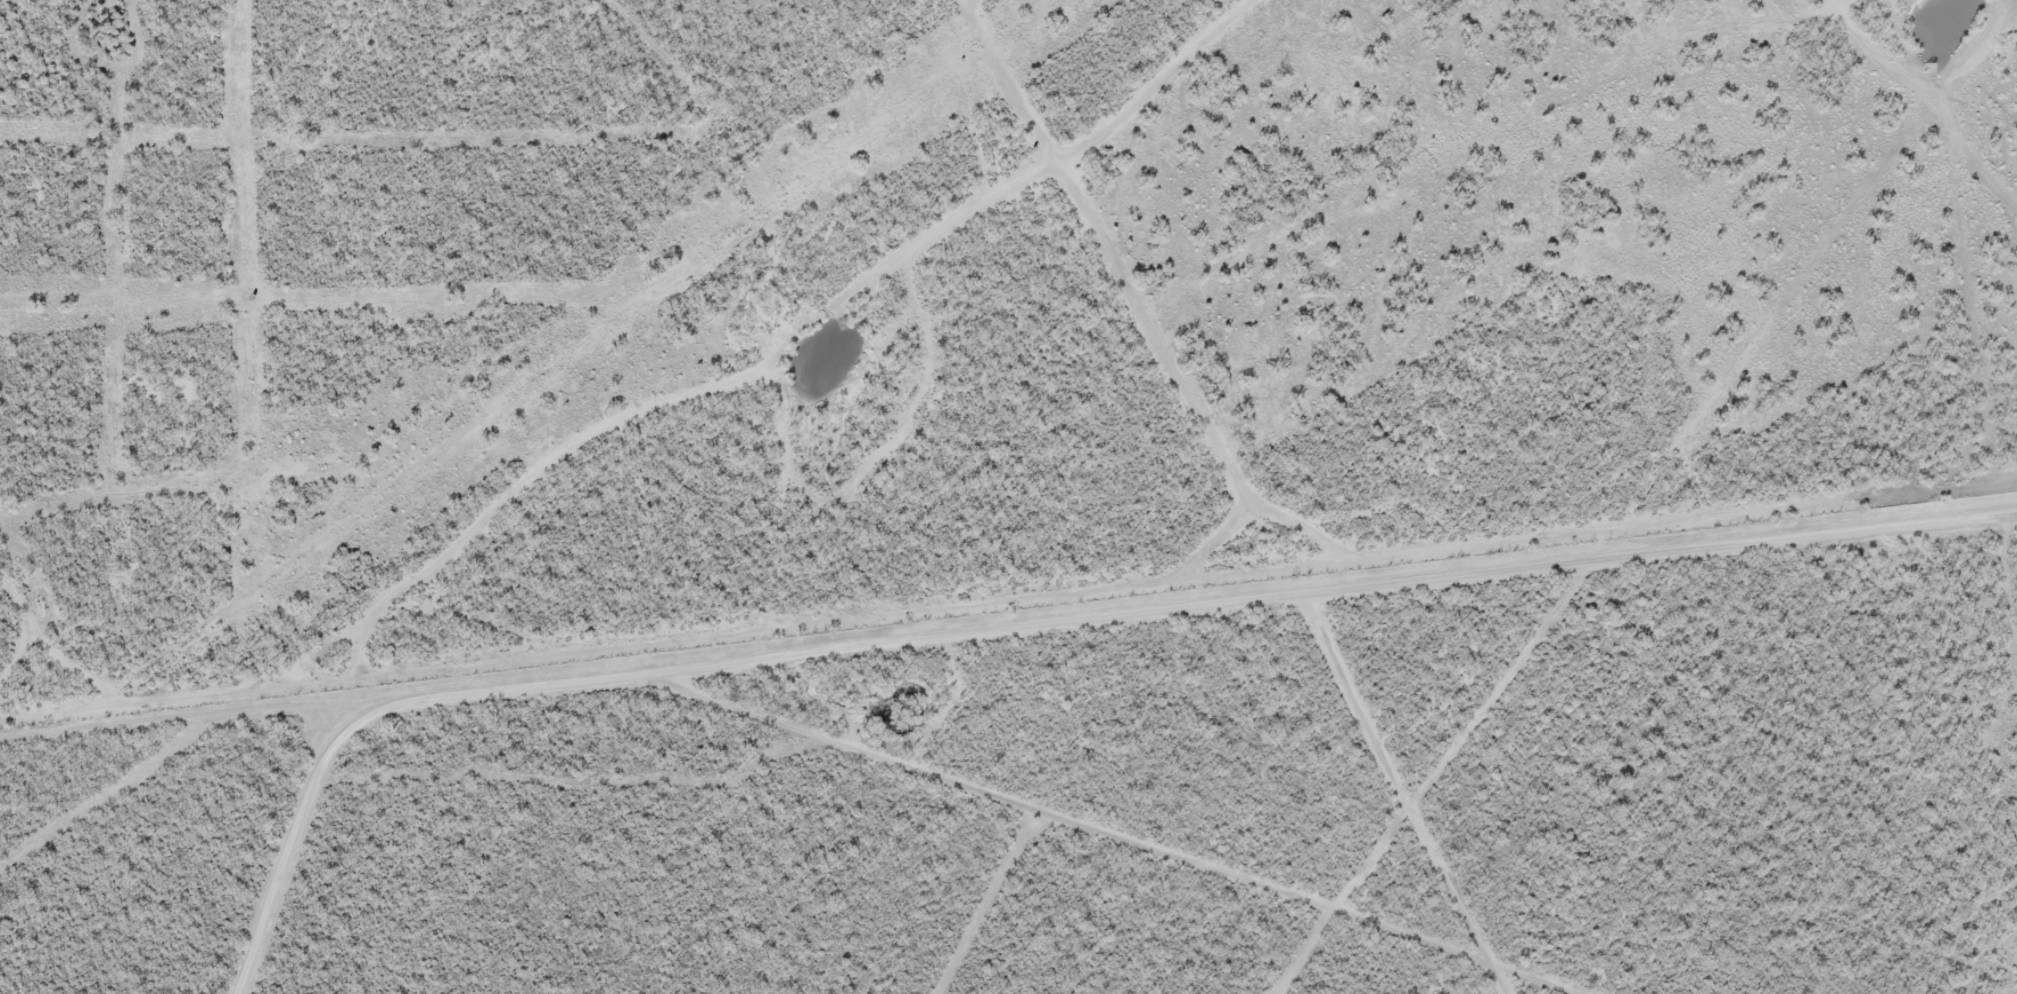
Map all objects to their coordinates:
road: (1036, 624)

